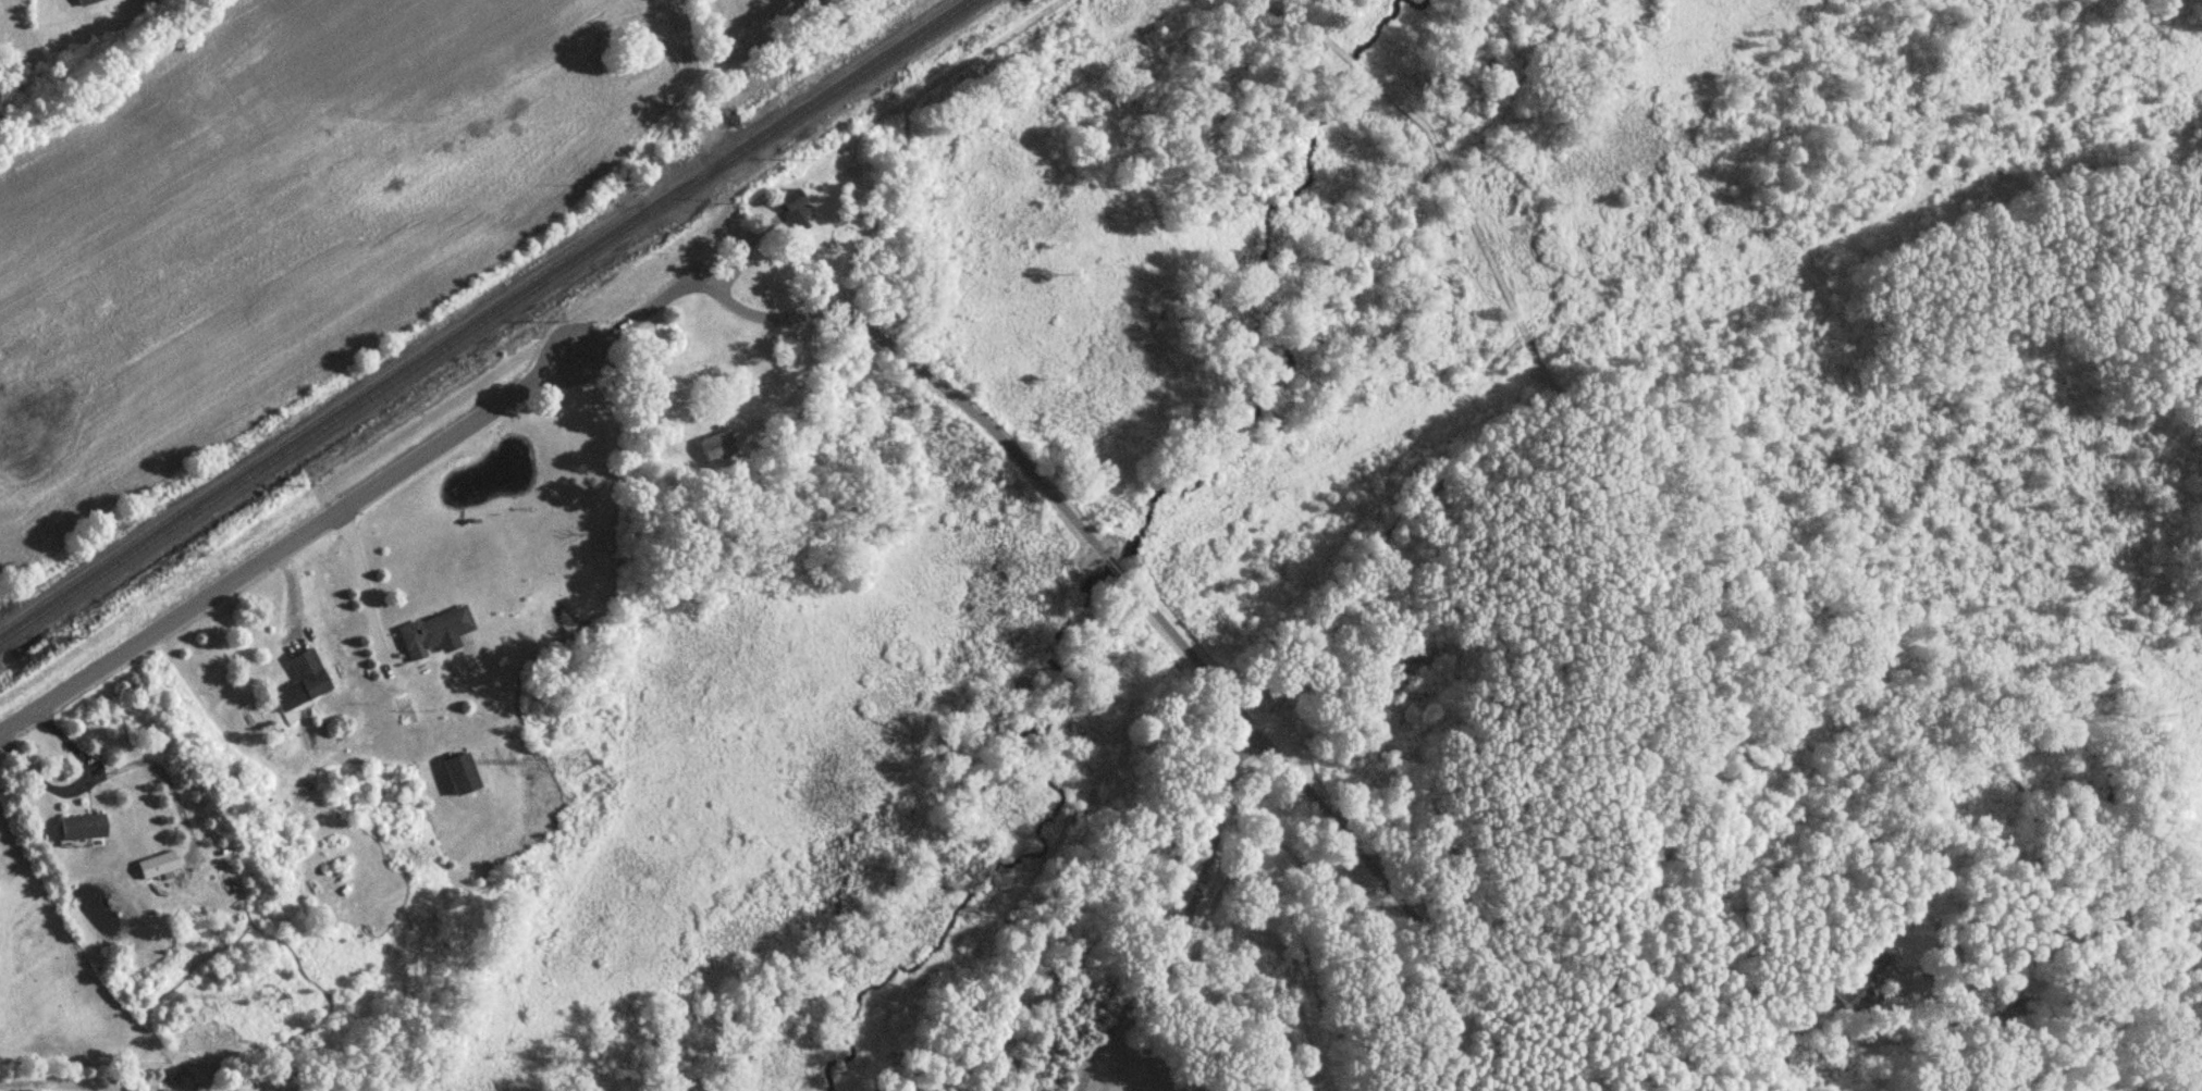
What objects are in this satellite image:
building: (89, 2)
crop: (741, 10)
road: (786, 64)
power tower: (2046, 148)
building: (796, 210)
crop: (287, 213)
railway: (487, 319)
power tower: (1562, 355)
road: (925, 370)
building: (717, 448)
road: (352, 509)
power tower: (1062, 563)
road: (1114, 563)
road: (364, 583)
building: (434, 633)
road: (1181, 642)
building: (303, 683)
power tower: (585, 758)
building: (464, 777)
road: (74, 789)
building: (83, 829)
building: (161, 865)
road: (1390, 882)
road: (1184, 914)
road: (2057, 935)
building: (1868, 972)
power tower: (275, 999)
road: (59, 1079)

